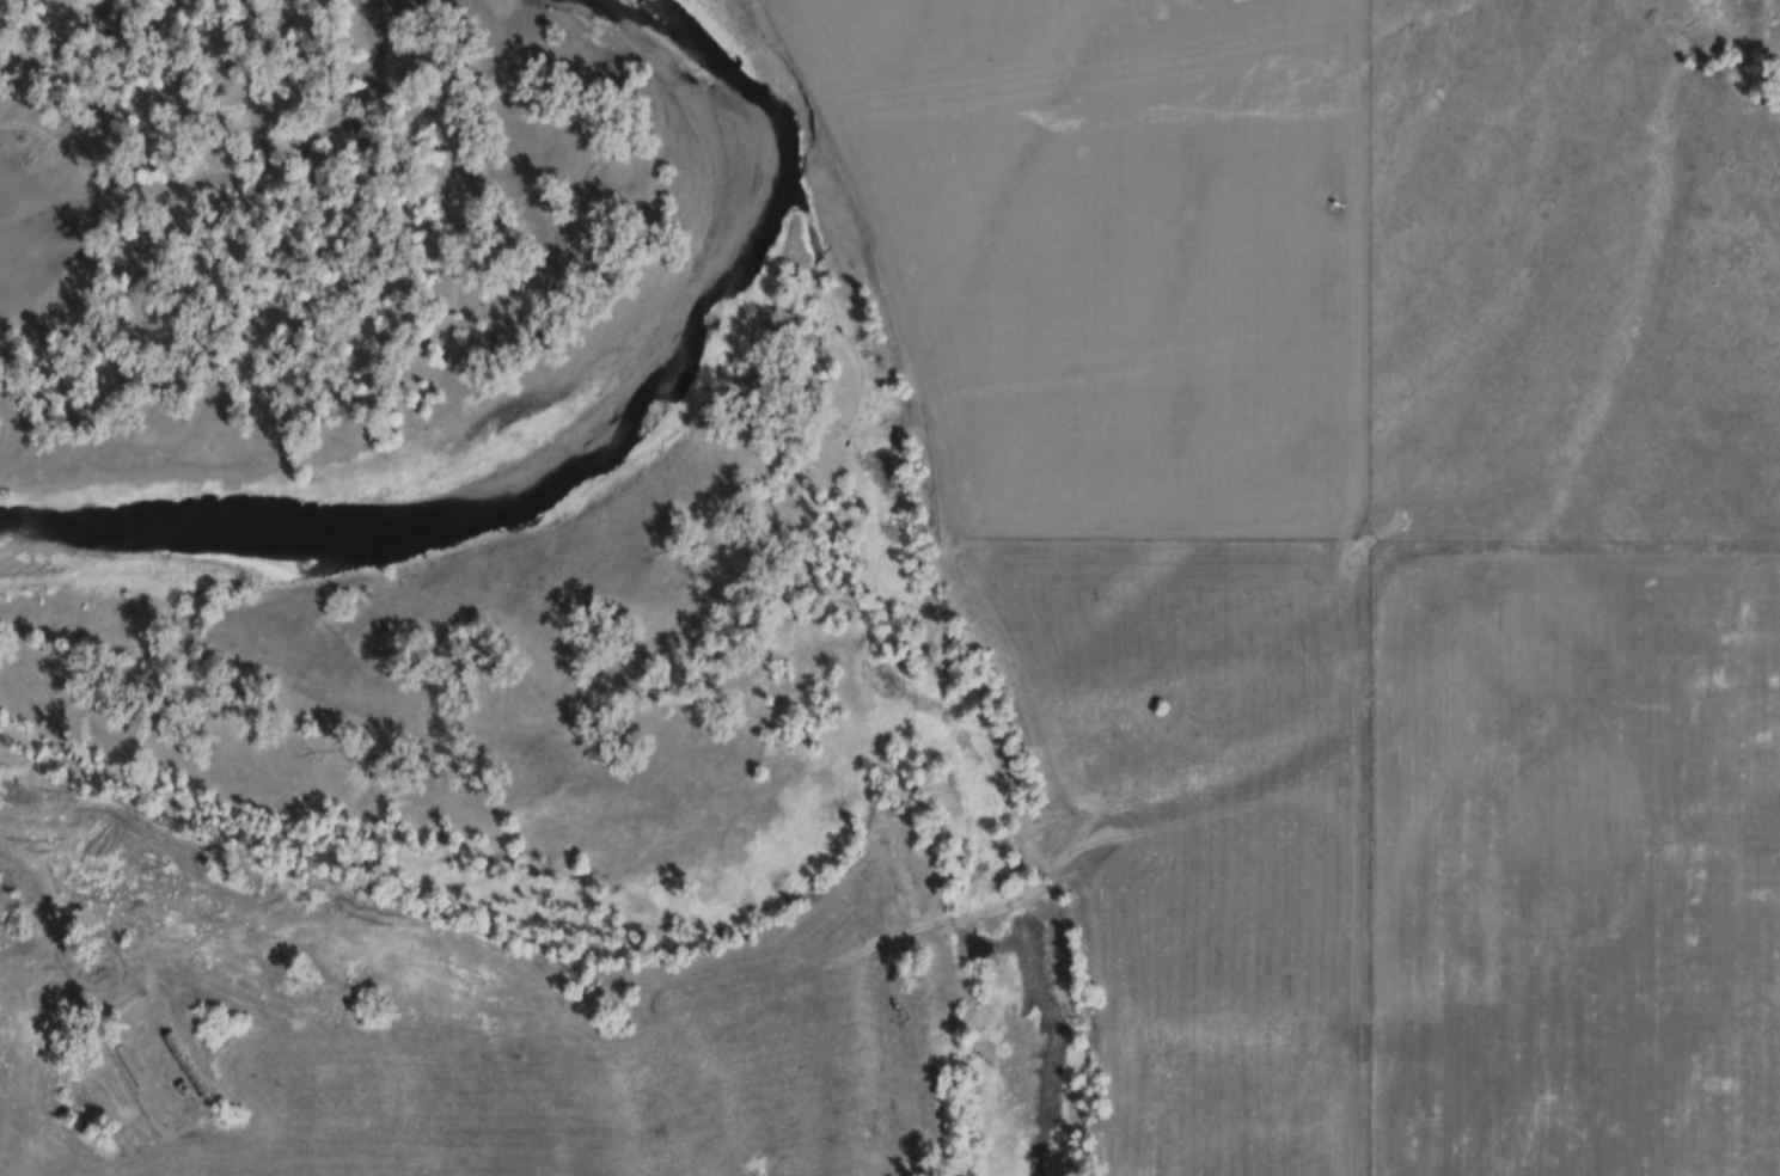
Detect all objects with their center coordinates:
river: (592, 453)

